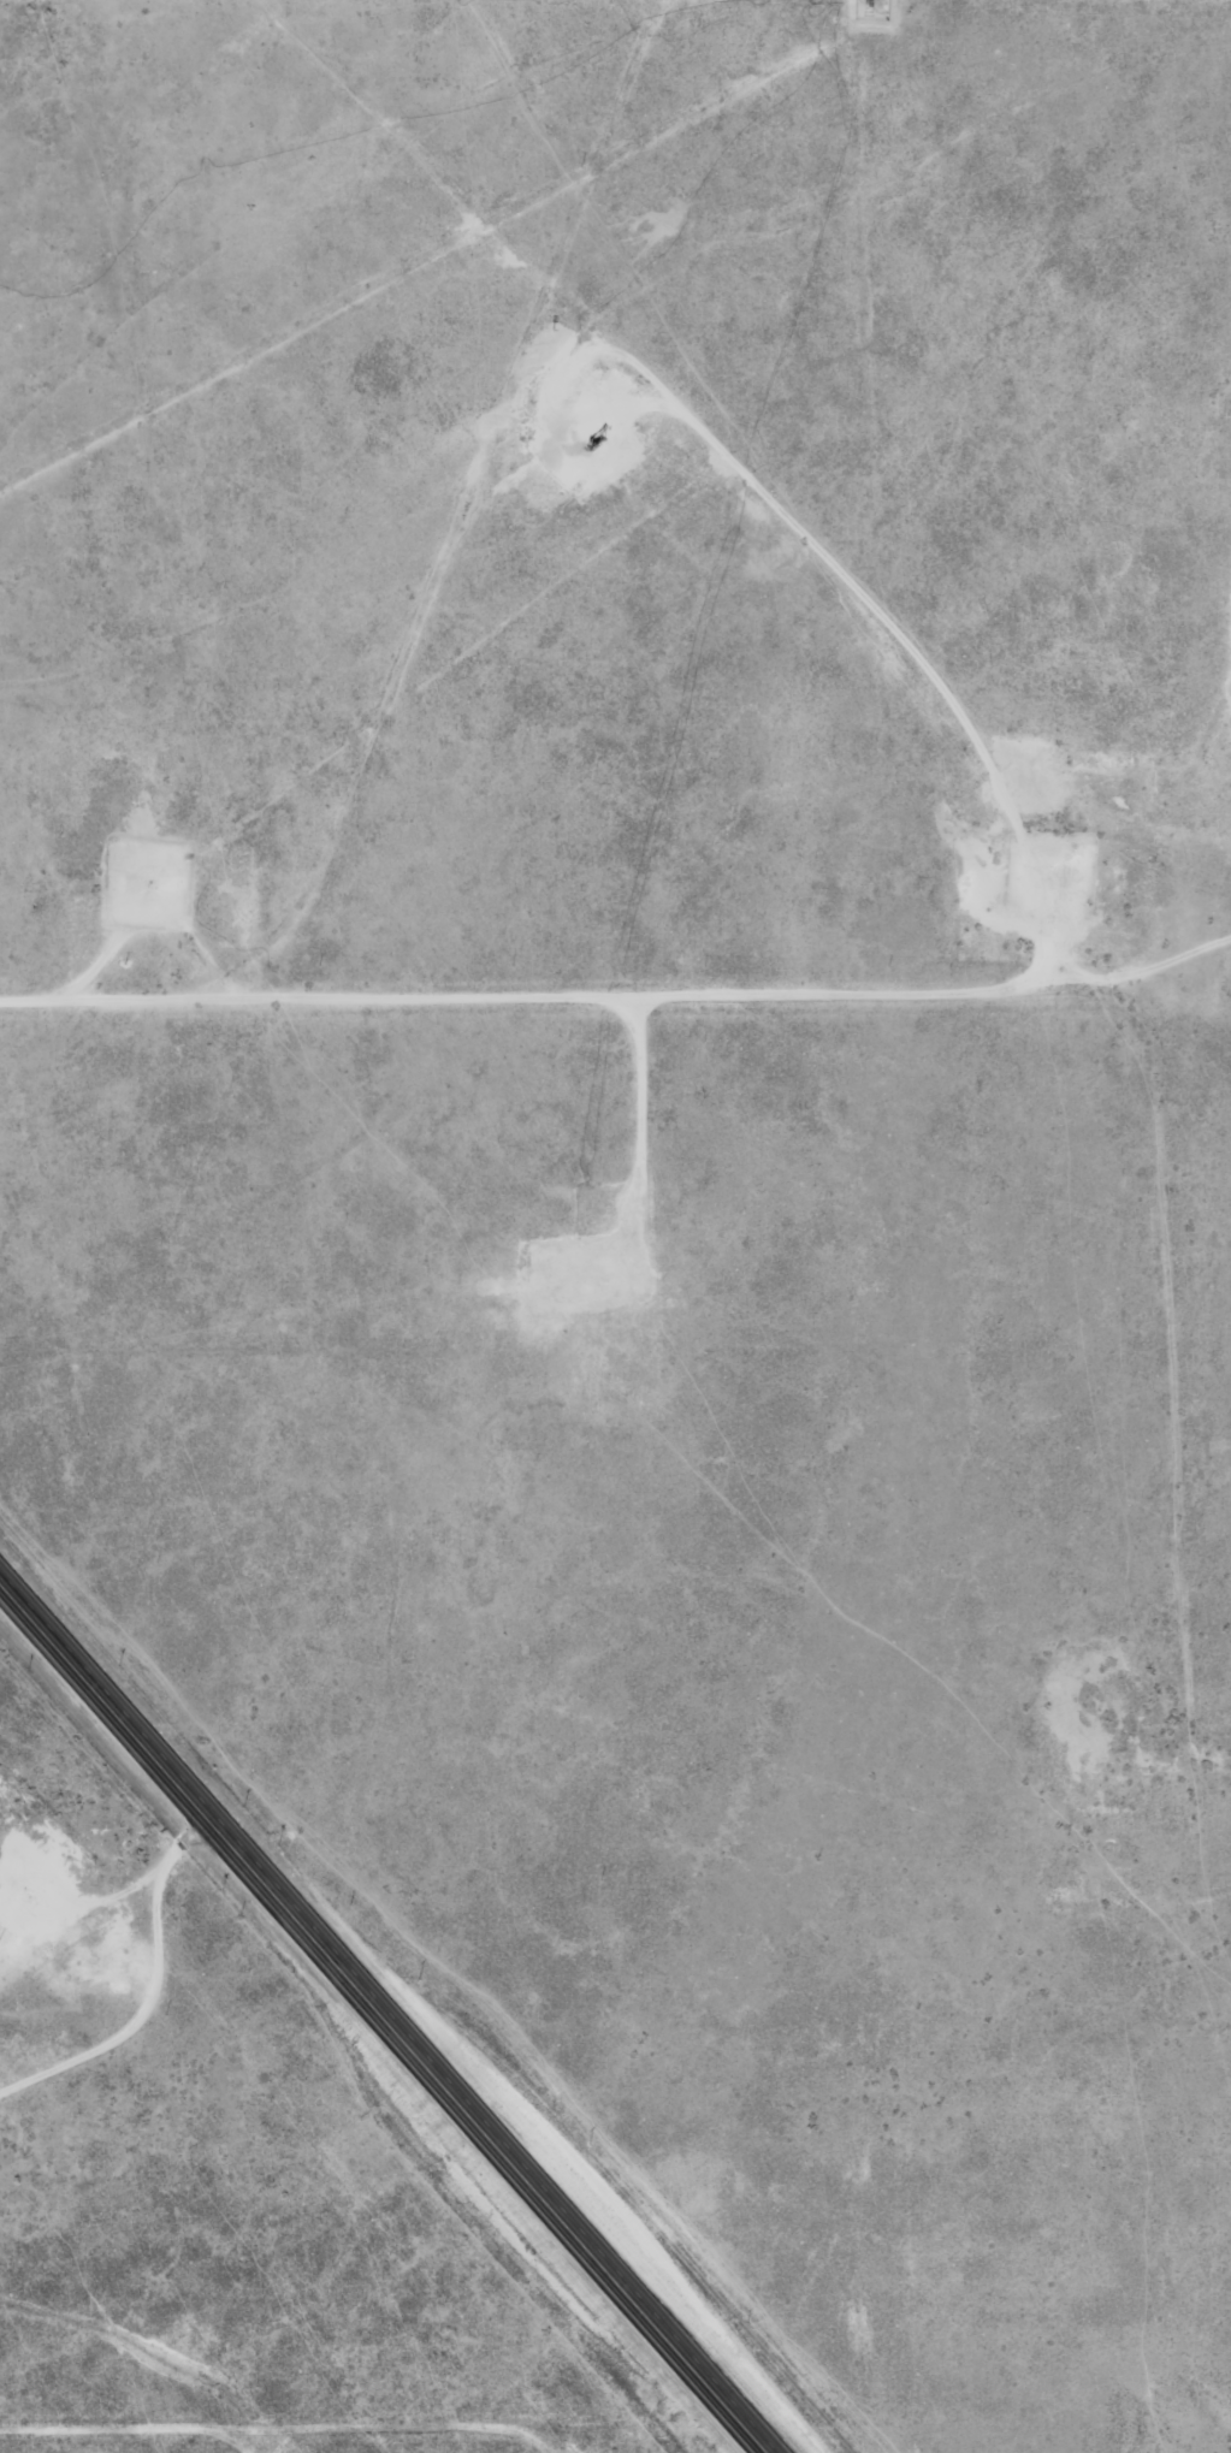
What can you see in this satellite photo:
road: (425, 609)
road: (152, 1971)
road: (387, 2008)

